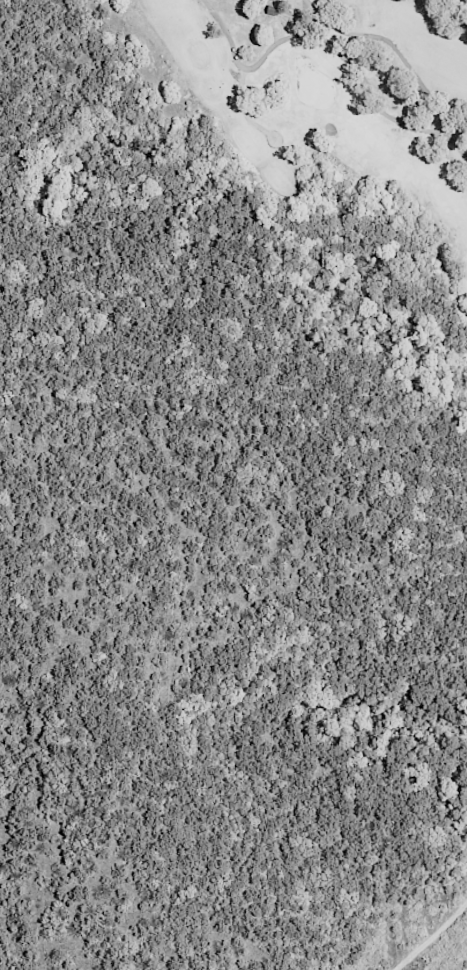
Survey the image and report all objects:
road: (334, 48)
road: (395, 49)
park: (308, 128)
road: (430, 935)

